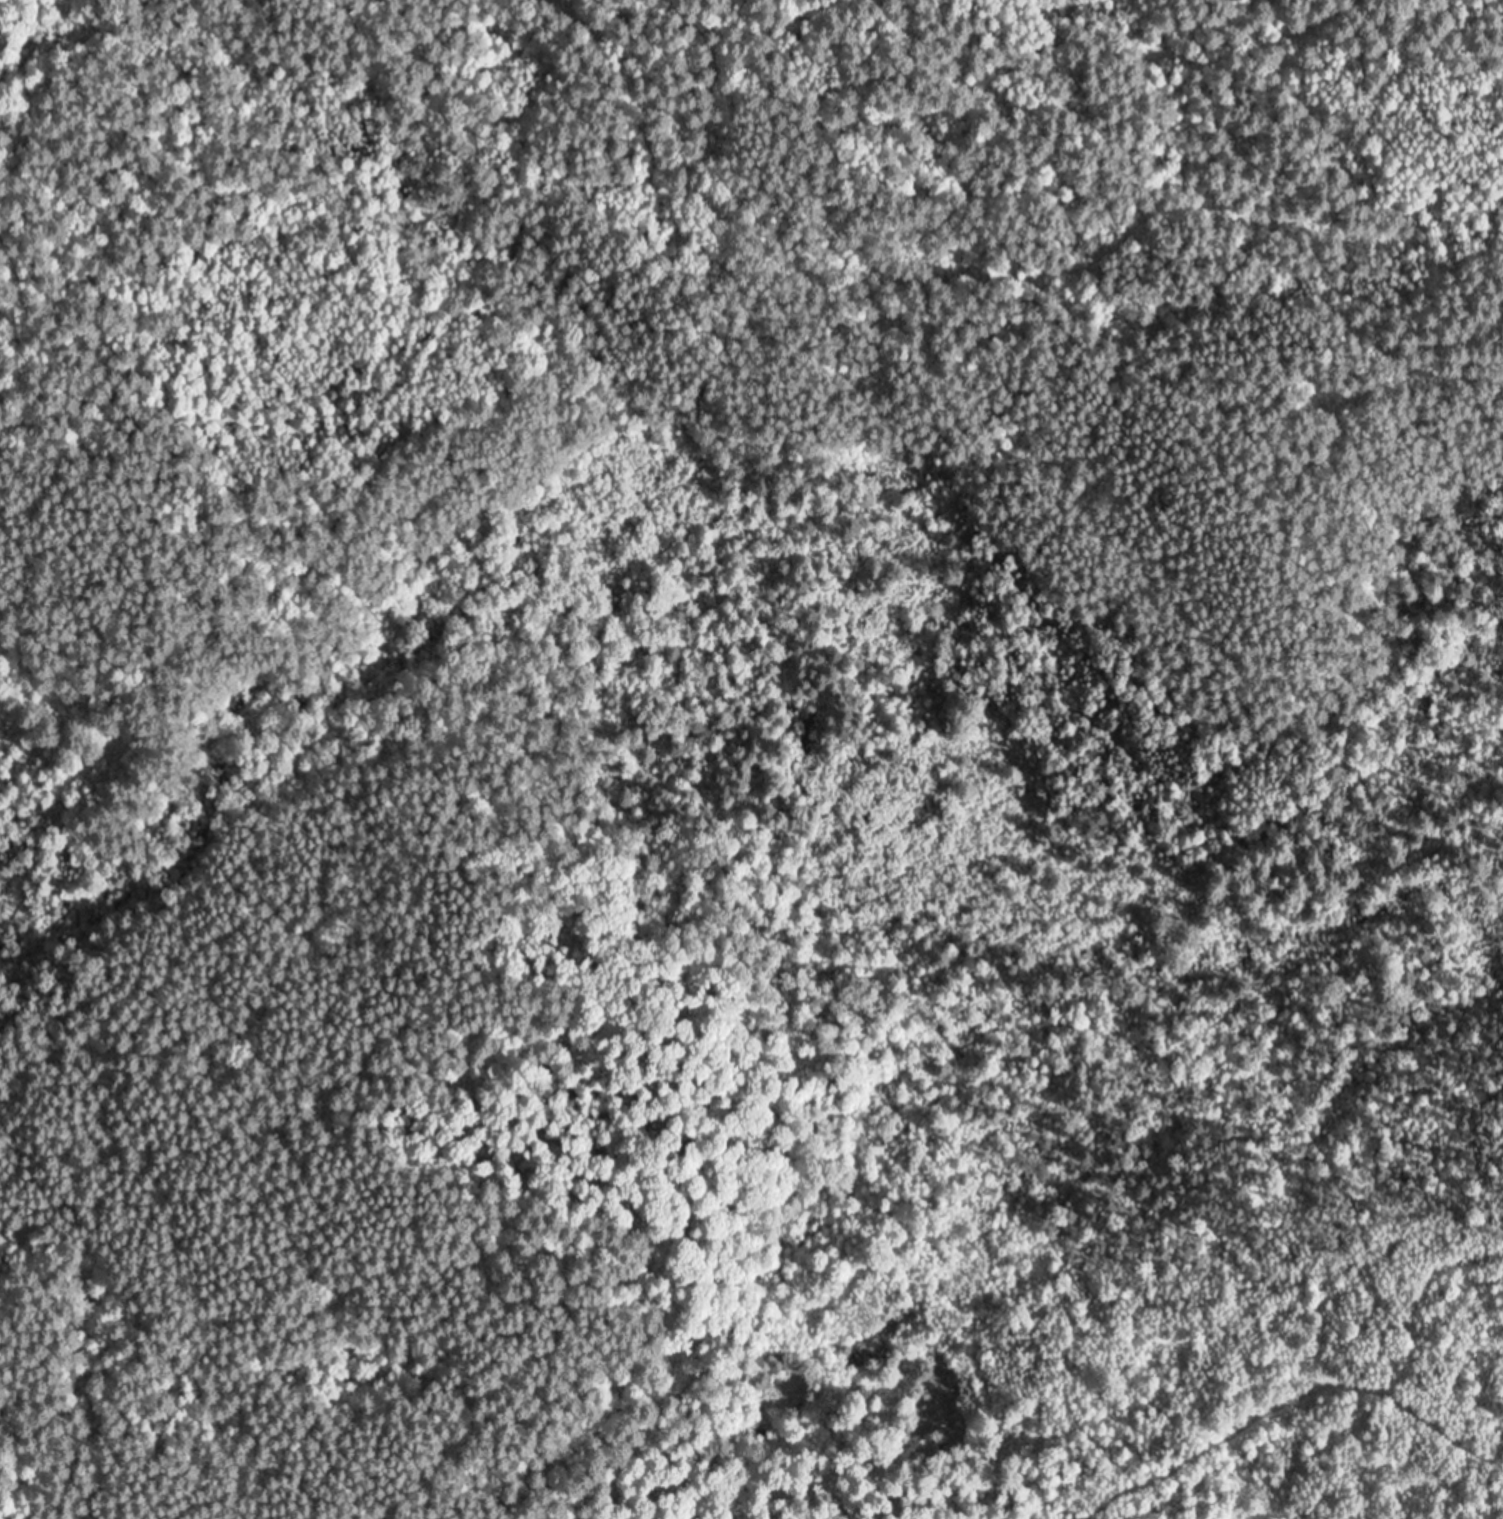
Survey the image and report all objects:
road: (1297, 1396)

